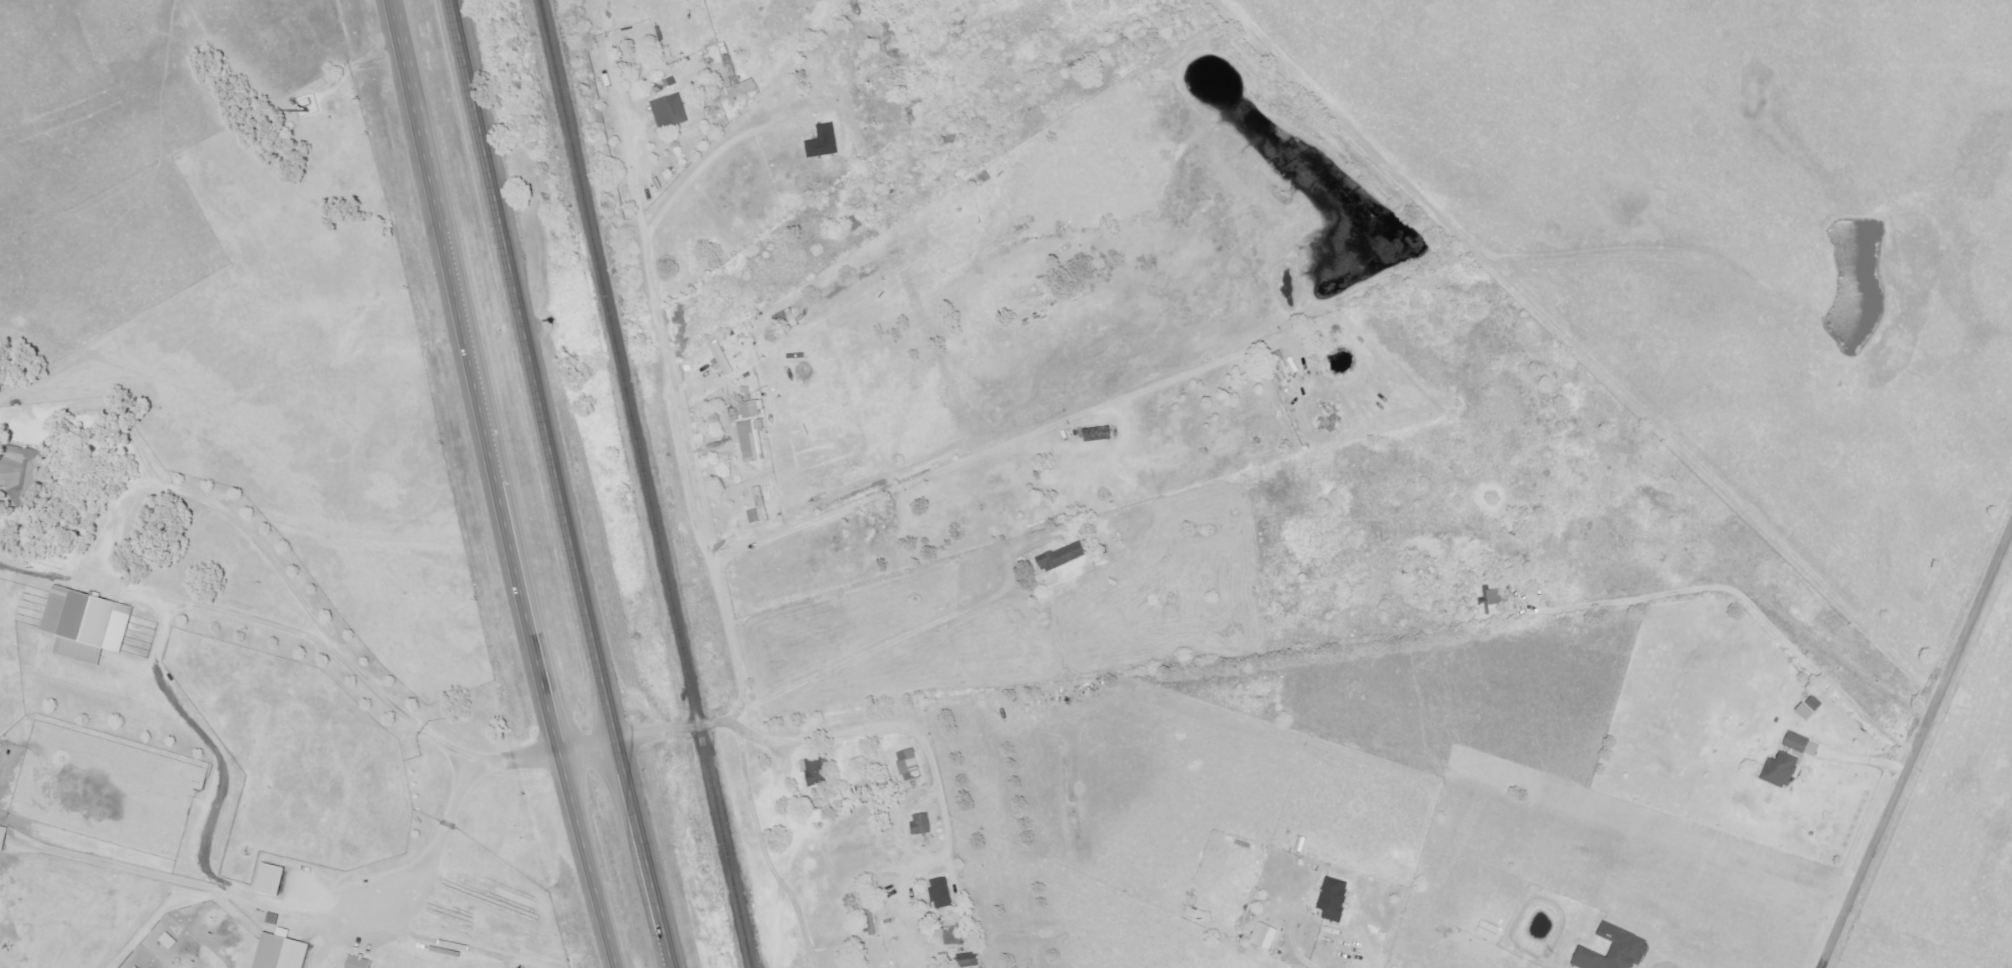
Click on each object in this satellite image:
building: (681, 0)
building: (640, 91)
building: (666, 114)
building: (822, 144)
road: (696, 174)
building: (723, 358)
road: (663, 362)
building: (1286, 369)
building: (749, 410)
building: (754, 440)
building: (26, 473)
road: (490, 484)
road: (560, 484)
railway: (640, 484)
building: (763, 504)
road: (829, 517)
building: (1065, 557)
road: (135, 592)
building: (1496, 602)
road: (1750, 607)
building: (90, 624)
road: (856, 650)
building: (1813, 707)
road: (879, 726)
building: (1805, 744)
road: (1917, 749)
road: (582, 752)
road: (1859, 762)
building: (911, 765)
building: (1773, 768)
building: (816, 773)
building: (924, 824)
road: (444, 833)
building: (5, 837)
road: (763, 854)
building: (275, 880)
building: (943, 893)
building: (1337, 898)
building: (274, 918)
building: (1491, 930)
building: (1268, 936)
building: (955, 937)
building: (171, 941)
building: (1618, 951)
building: (280, 955)
building: (971, 960)
building: (356, 964)
road: (1338, 964)

